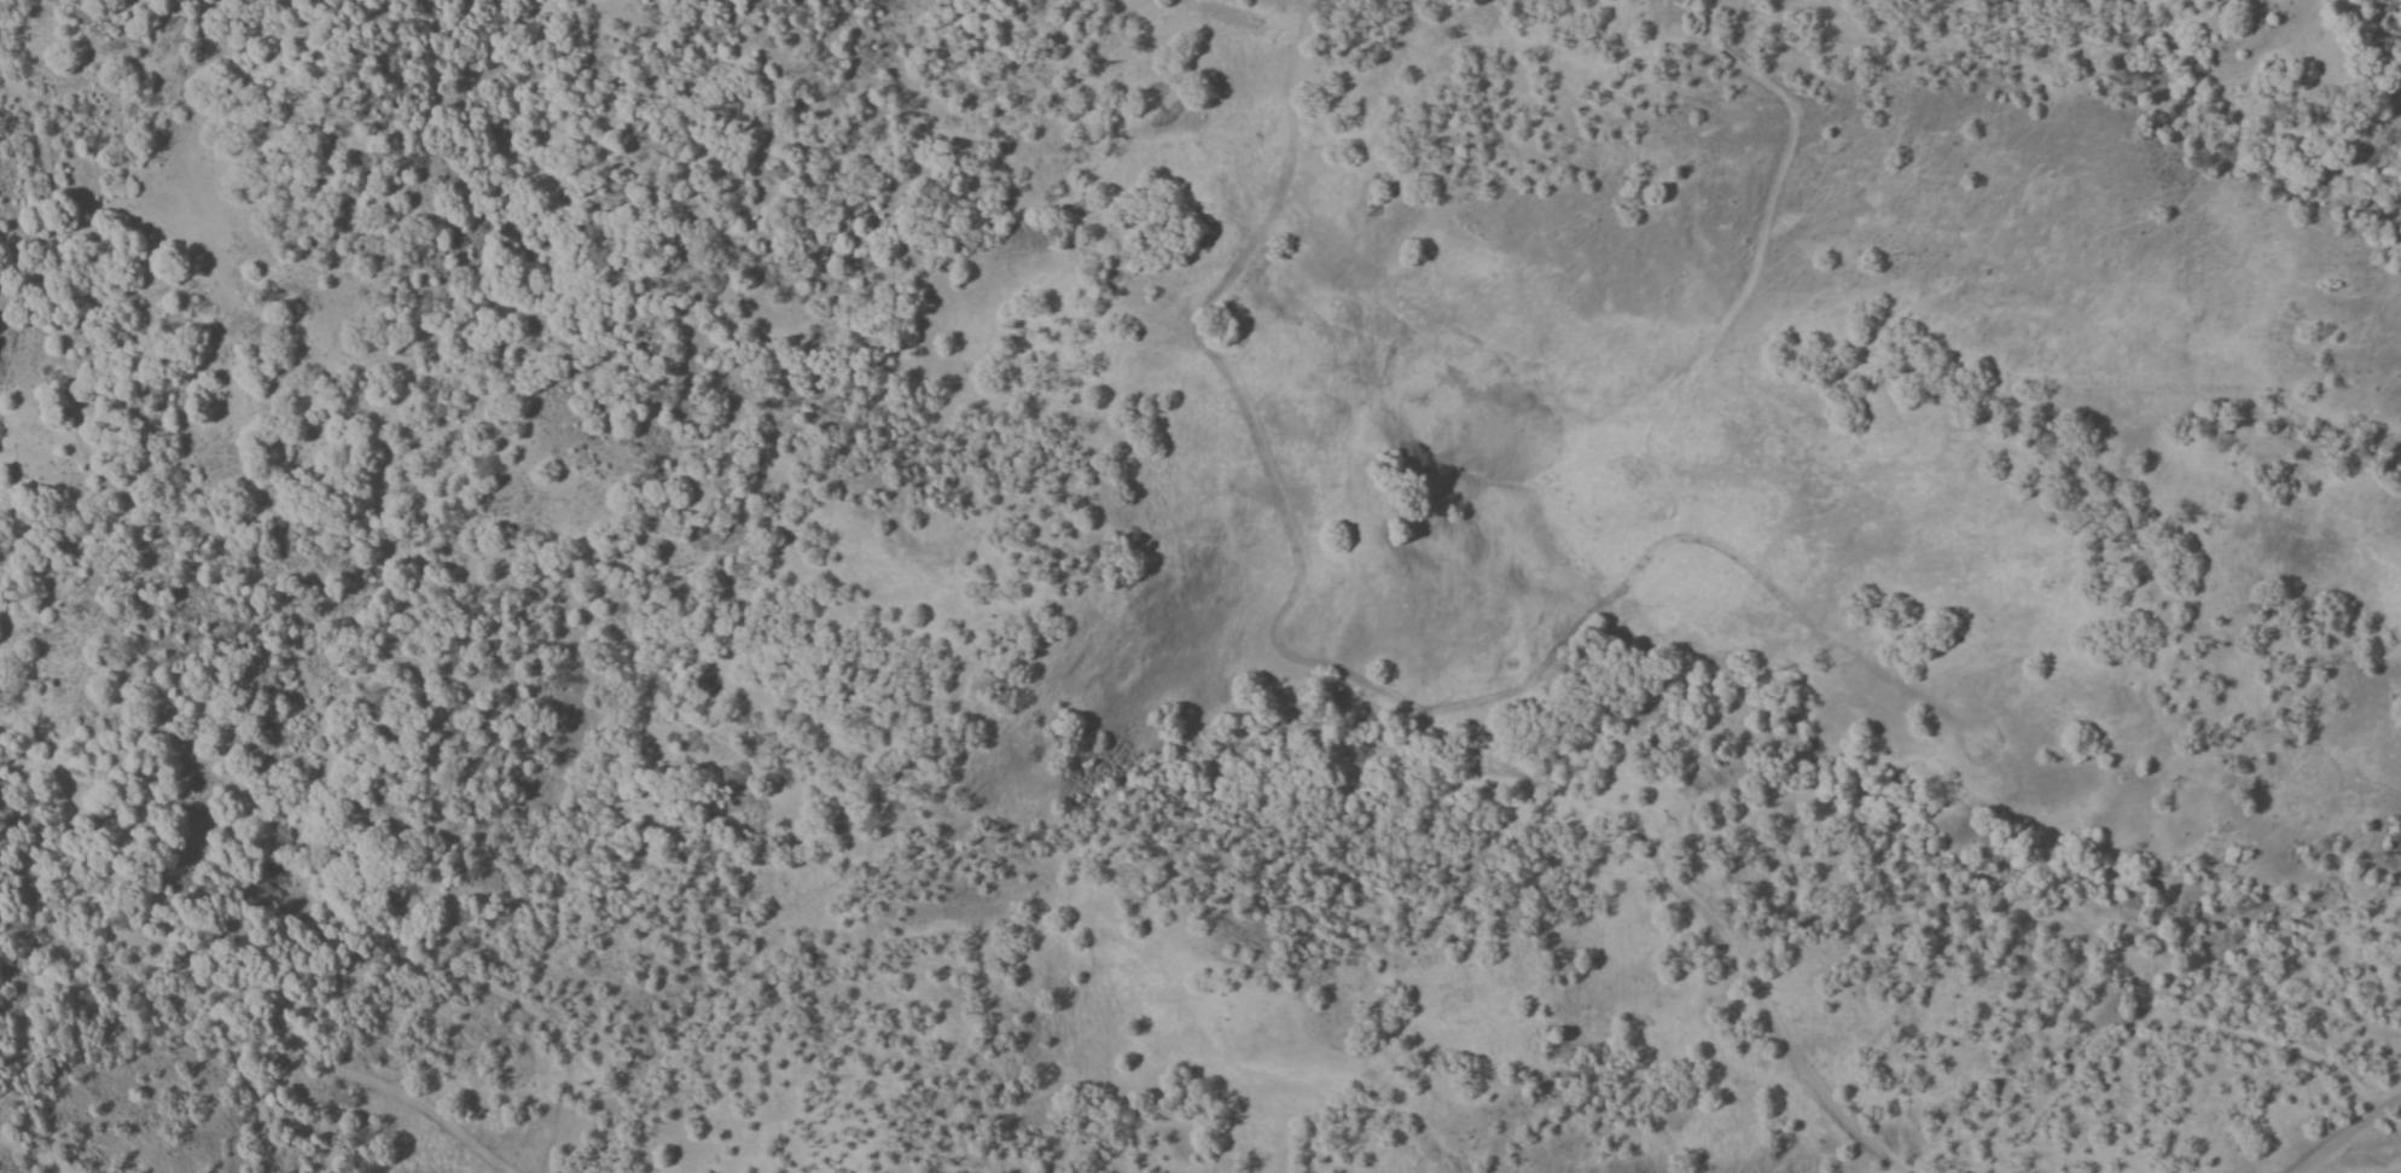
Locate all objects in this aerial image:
road: (1644, 432)
road: (1254, 434)
road: (279, 621)
road: (1722, 941)
road: (2268, 1041)
road: (298, 1045)
road: (2343, 1133)
road: (31, 1156)

